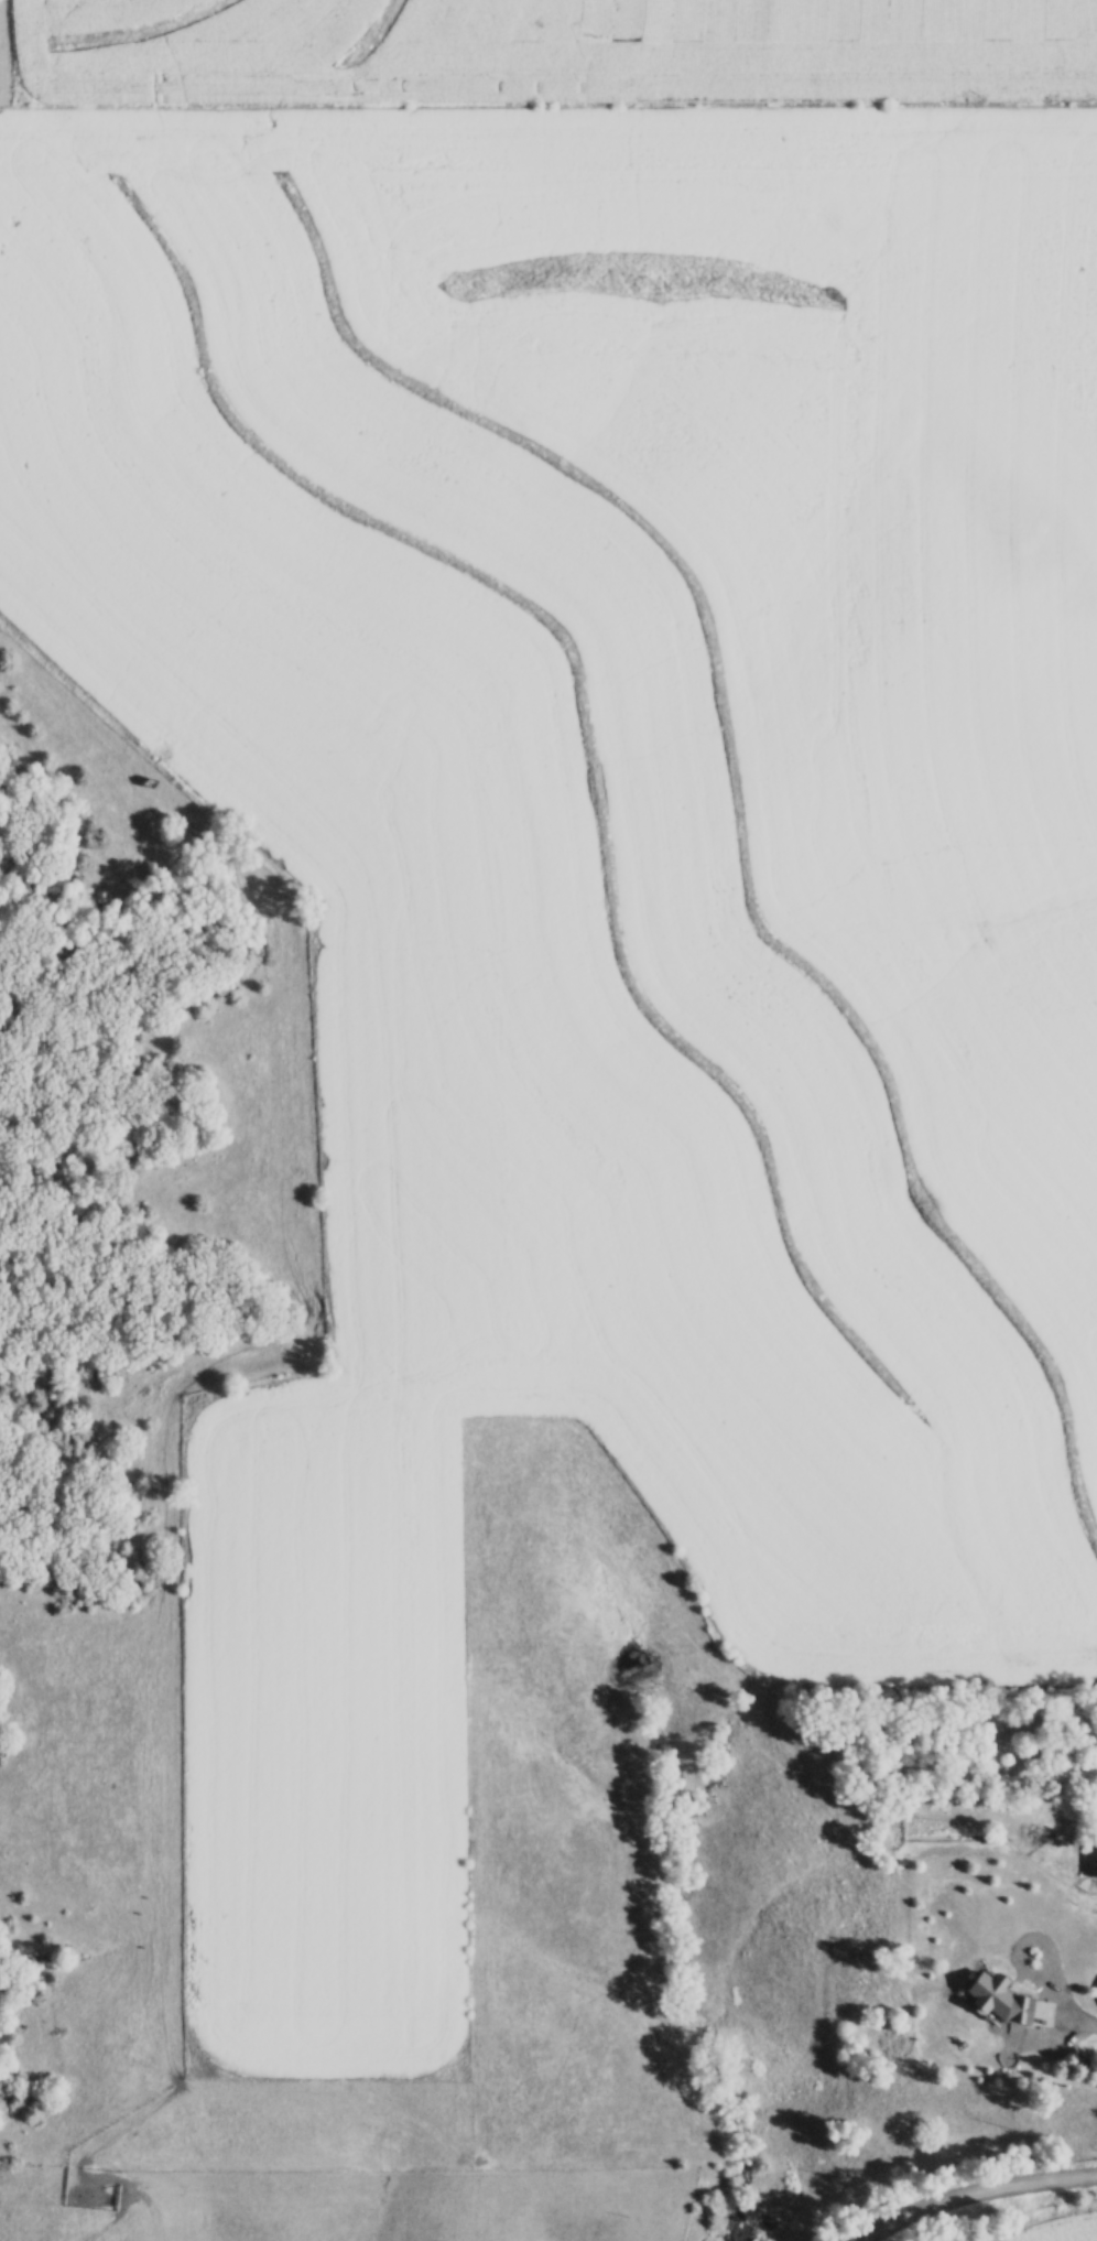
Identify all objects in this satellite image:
building: (1010, 2002)
road: (977, 2193)

